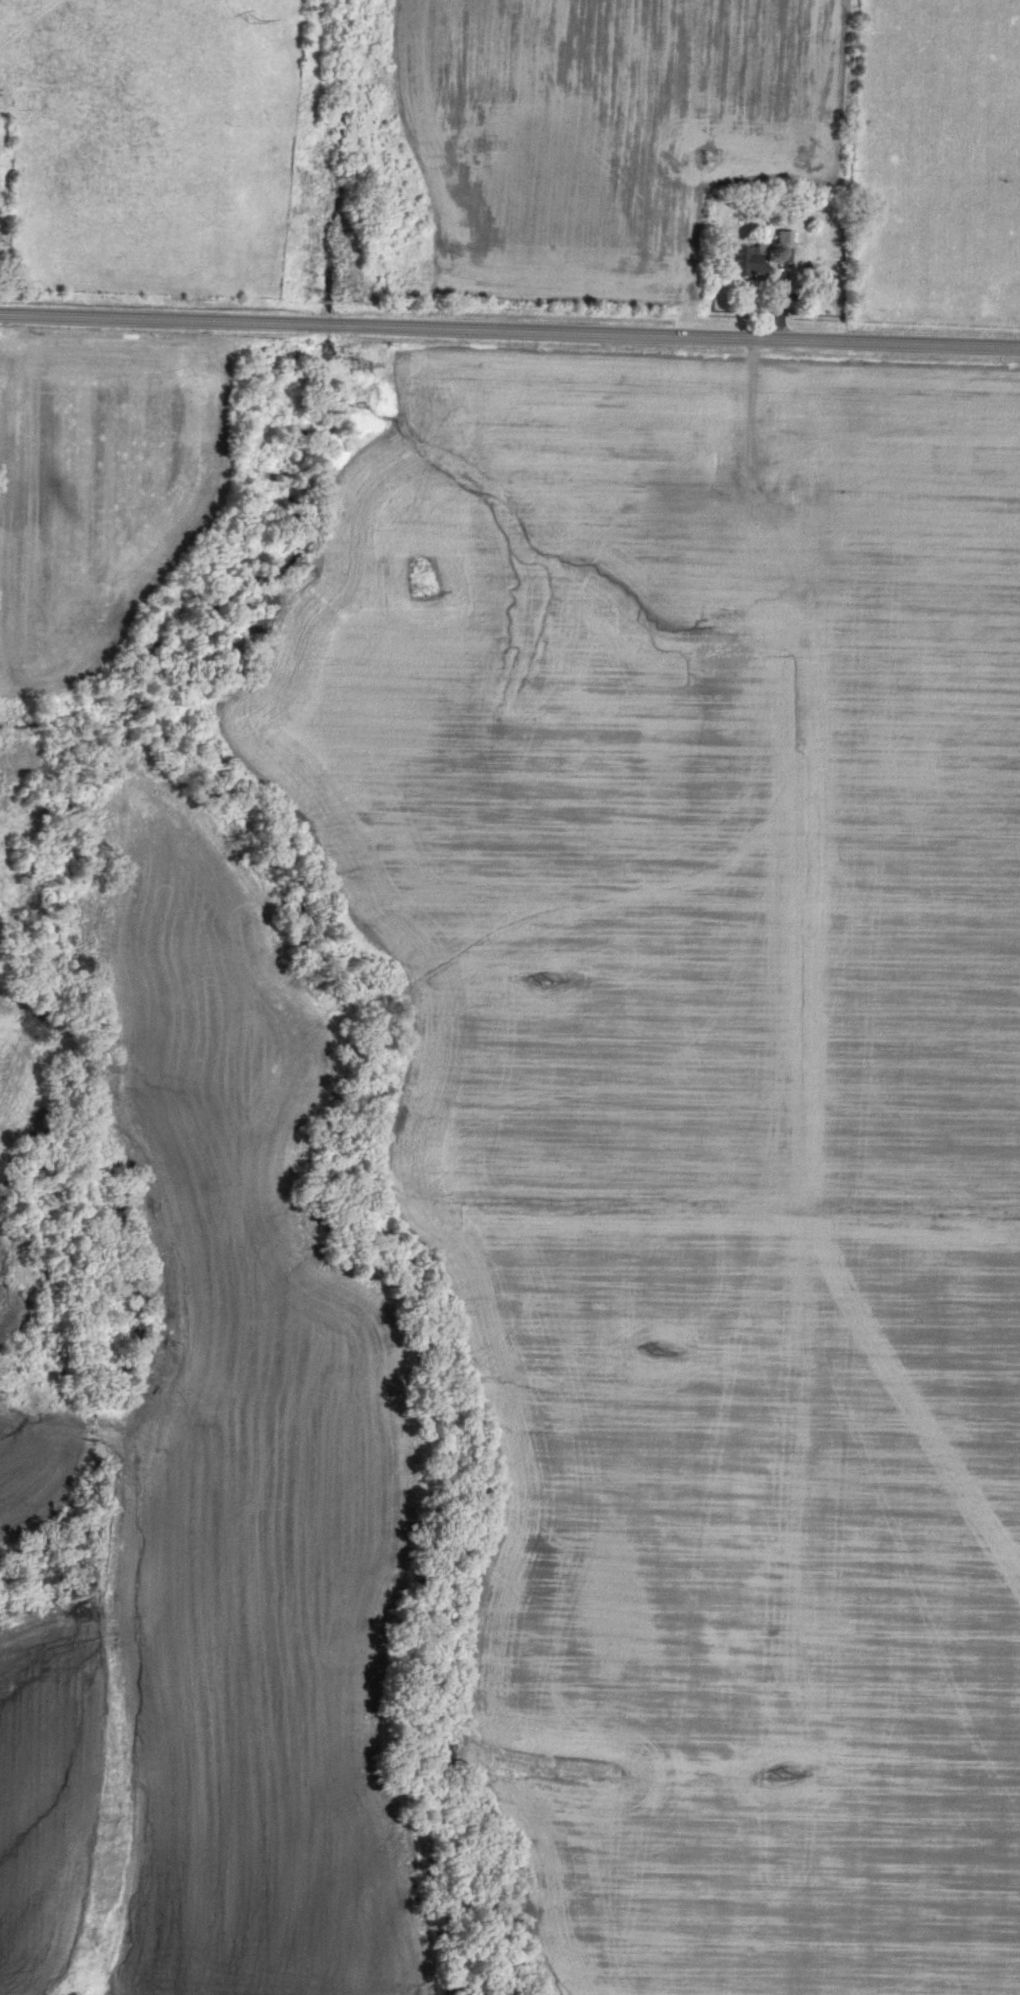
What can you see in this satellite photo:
power tower: (251, 19)
building: (783, 247)
building: (744, 261)
road: (509, 331)
power tower: (356, 366)
road: (750, 429)
building: (806, 491)
building: (861, 500)
power tower: (427, 595)
power tower: (545, 980)
power tower: (664, 1353)
power tower: (787, 1774)

